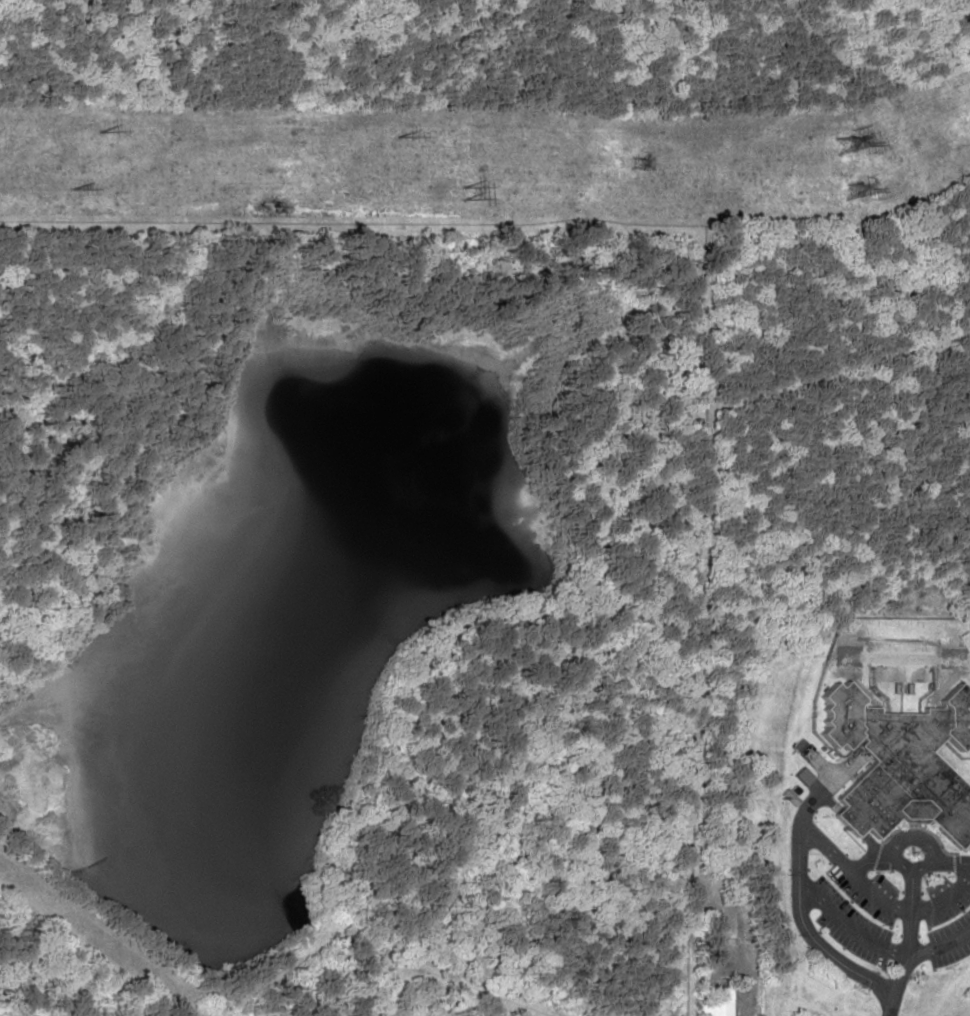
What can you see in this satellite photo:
power tower: (99, 135)
power tower: (395, 139)
power tower: (841, 146)
power tower: (636, 164)
power tower: (72, 180)
power tower: (462, 185)
power tower: (850, 190)
building: (900, 763)
road: (865, 861)
road: (944, 865)
road: (897, 866)
road: (792, 893)
road: (877, 900)
road: (911, 956)
building: (714, 1001)

